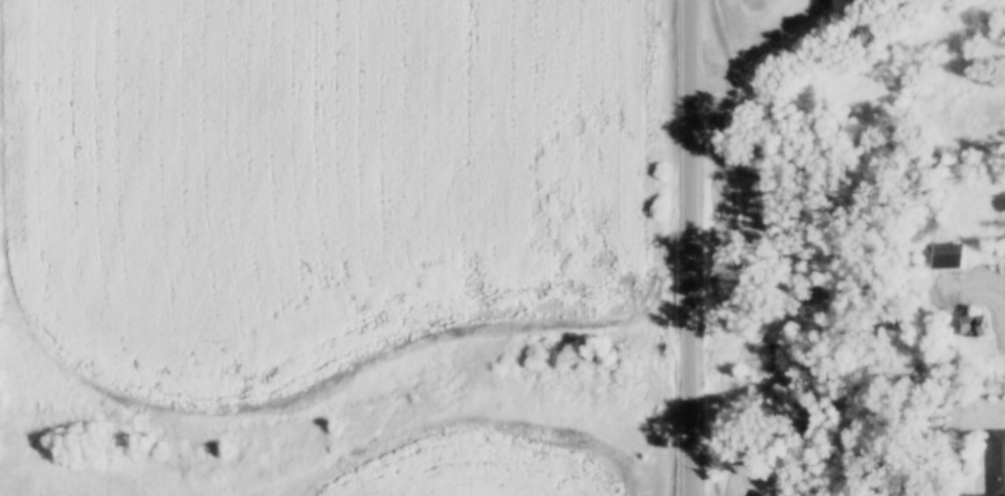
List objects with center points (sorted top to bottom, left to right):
road: (690, 248)
building: (946, 256)
building: (969, 326)
building: (997, 463)

